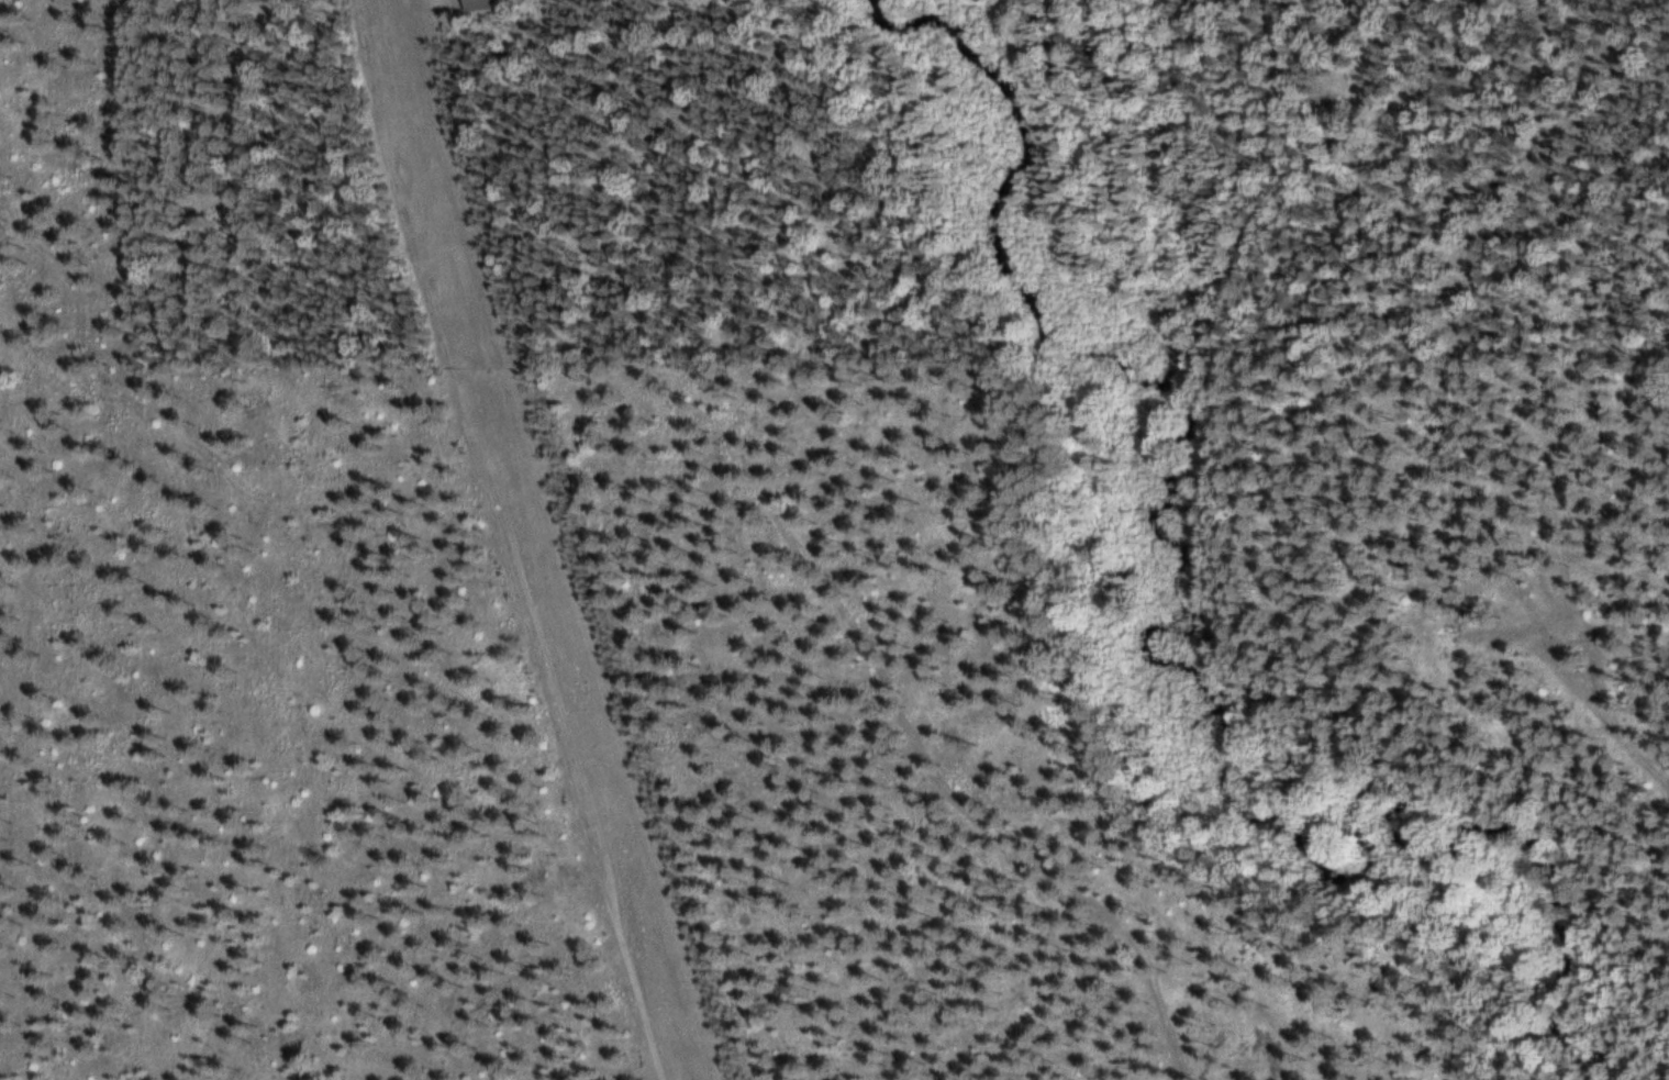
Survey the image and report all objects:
building: (481, 4)
road: (1514, 325)
road: (801, 557)

